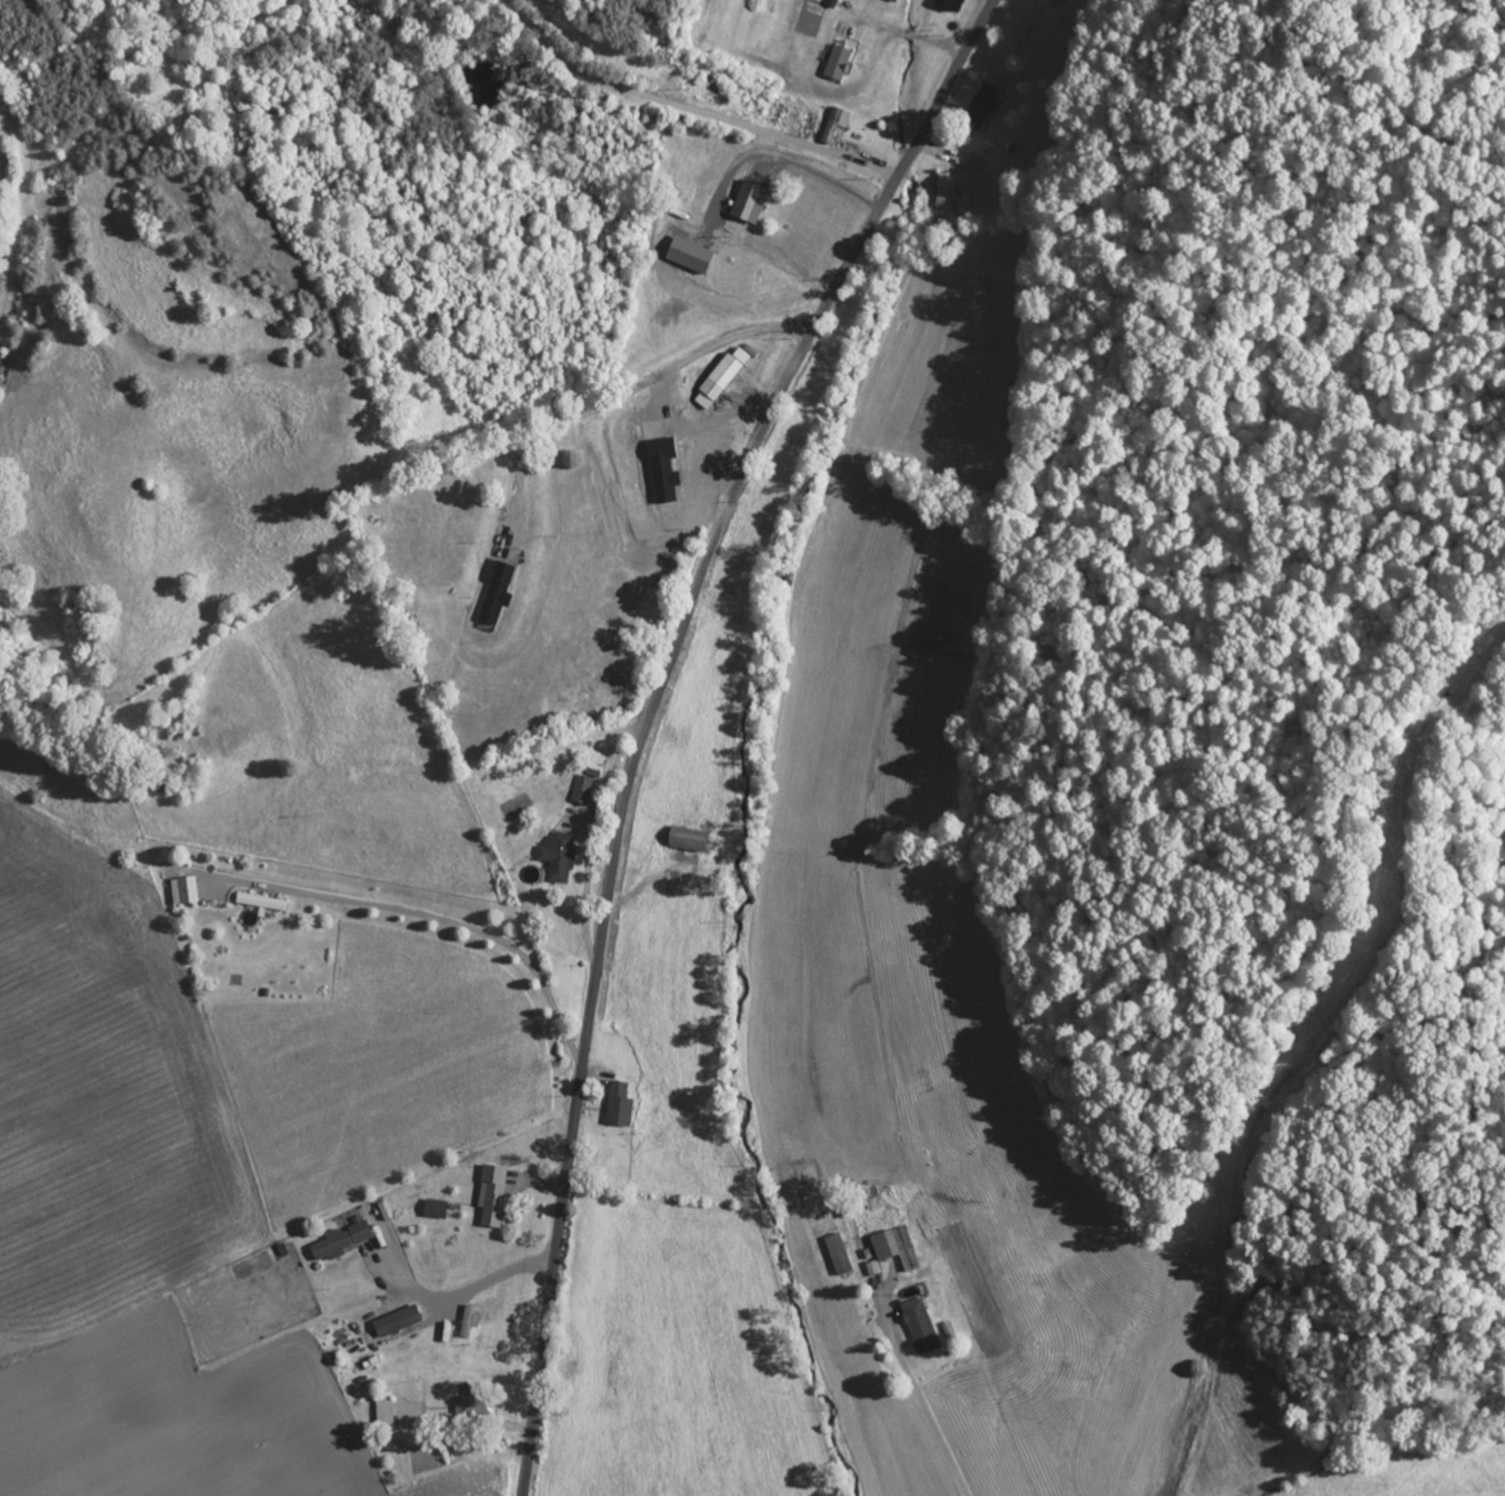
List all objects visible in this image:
building: (841, 62)
building: (810, 122)
building: (946, 190)
building: (755, 206)
road: (23, 209)
building: (722, 379)
road: (649, 713)
building: (585, 789)
building: (692, 842)
building: (561, 855)
building: (187, 891)
building: (265, 902)
building: (622, 1105)
building: (496, 1195)
building: (364, 1232)
building: (333, 1244)
building: (895, 1247)
building: (839, 1254)
building: (400, 1320)
building: (470, 1320)
building: (509, 1323)
building: (922, 1325)
road: (923, 1370)
building: (477, 1405)
building: (386, 1410)

